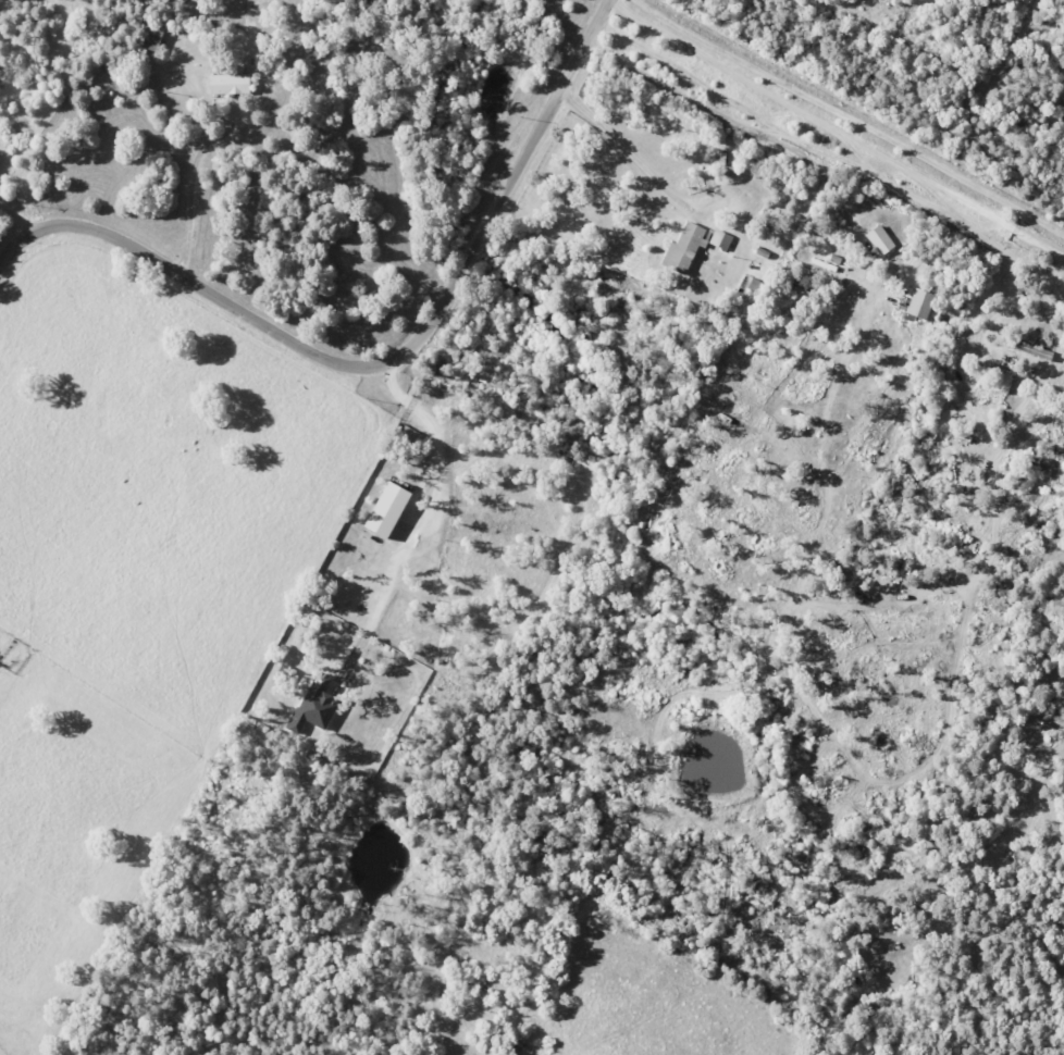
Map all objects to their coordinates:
building: (151, 36)
building: (227, 82)
road: (851, 116)
road: (837, 128)
road: (755, 132)
road: (619, 151)
road: (188, 182)
road: (17, 219)
building: (719, 239)
building: (877, 239)
building: (682, 247)
building: (914, 303)
road: (385, 365)
building: (382, 510)
road: (435, 518)
building: (312, 704)

